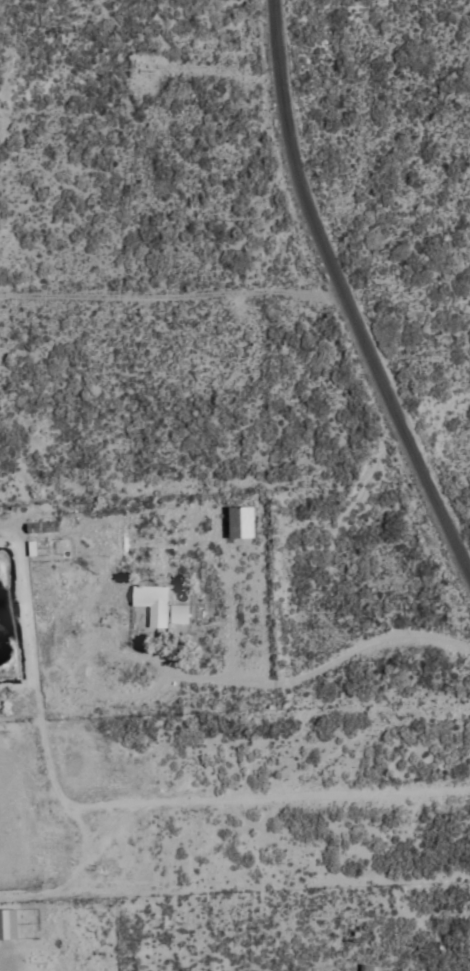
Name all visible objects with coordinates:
road: (150, 21)
road: (331, 296)
building: (243, 524)
building: (37, 529)
building: (153, 606)
building: (8, 926)

